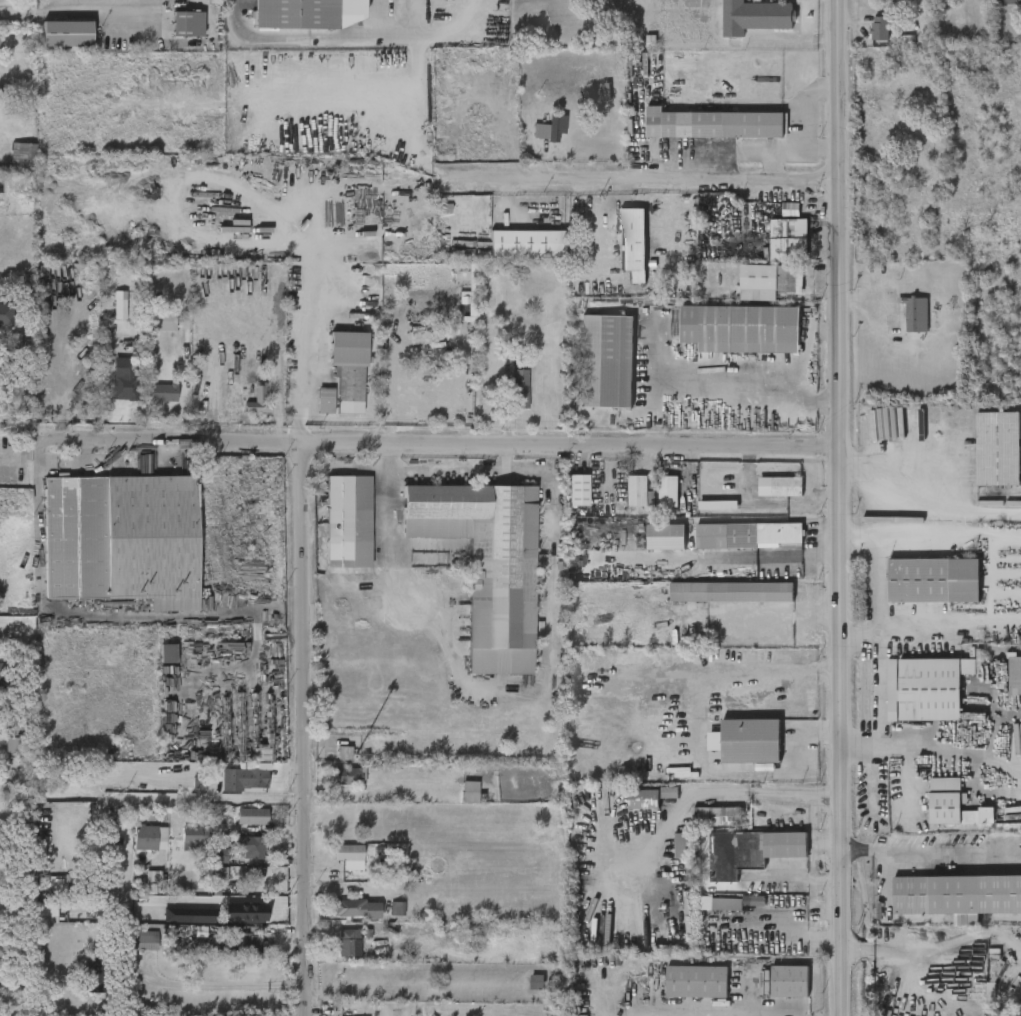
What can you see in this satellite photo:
building: (1011, 1)
road: (86, 9)
building: (308, 13)
road: (14, 16)
building: (754, 16)
building: (186, 24)
building: (880, 28)
building: (67, 34)
road: (355, 38)
road: (809, 106)
building: (714, 124)
building: (549, 128)
road: (761, 150)
building: (20, 158)
road: (773, 164)
road: (655, 185)
road: (587, 233)
building: (789, 240)
building: (525, 243)
building: (633, 243)
building: (770, 282)
building: (118, 309)
building: (5, 314)
building: (916, 315)
building: (166, 320)
road: (309, 324)
building: (742, 329)
building: (606, 362)
road: (103, 364)
building: (348, 369)
building: (124, 381)
building: (516, 390)
road: (723, 390)
building: (160, 393)
building: (257, 402)
building: (324, 402)
road: (439, 442)
building: (998, 449)
road: (445, 471)
building: (778, 487)
building: (576, 489)
building: (635, 490)
building: (666, 490)
building: (1013, 502)
road: (838, 508)
road: (930, 510)
road: (975, 512)
road: (387, 517)
building: (346, 521)
building: (745, 534)
building: (666, 537)
building: (120, 540)
building: (485, 564)
building: (934, 580)
road: (37, 581)
building: (729, 592)
road: (225, 615)
road: (860, 637)
road: (880, 651)
building: (167, 654)
road: (752, 668)
building: (1015, 675)
building: (7, 679)
building: (926, 688)
road: (292, 728)
building: (751, 741)
building: (12, 745)
road: (931, 749)
building: (343, 753)
building: (347, 777)
building: (243, 780)
road: (723, 791)
building: (469, 792)
building: (669, 793)
building: (641, 799)
building: (954, 804)
road: (135, 813)
building: (251, 817)
building: (715, 817)
building: (109, 836)
building: (193, 838)
building: (148, 839)
building: (682, 846)
building: (249, 849)
building: (220, 850)
road: (931, 850)
building: (750, 852)
building: (348, 856)
building: (218, 873)
building: (957, 896)
road: (202, 899)
building: (725, 905)
building: (355, 909)
building: (397, 910)
building: (254, 913)
building: (201, 916)
road: (796, 925)
building: (142, 941)
building: (249, 943)
building: (346, 944)
building: (537, 982)
building: (696, 982)
building: (790, 982)
road: (201, 1002)

